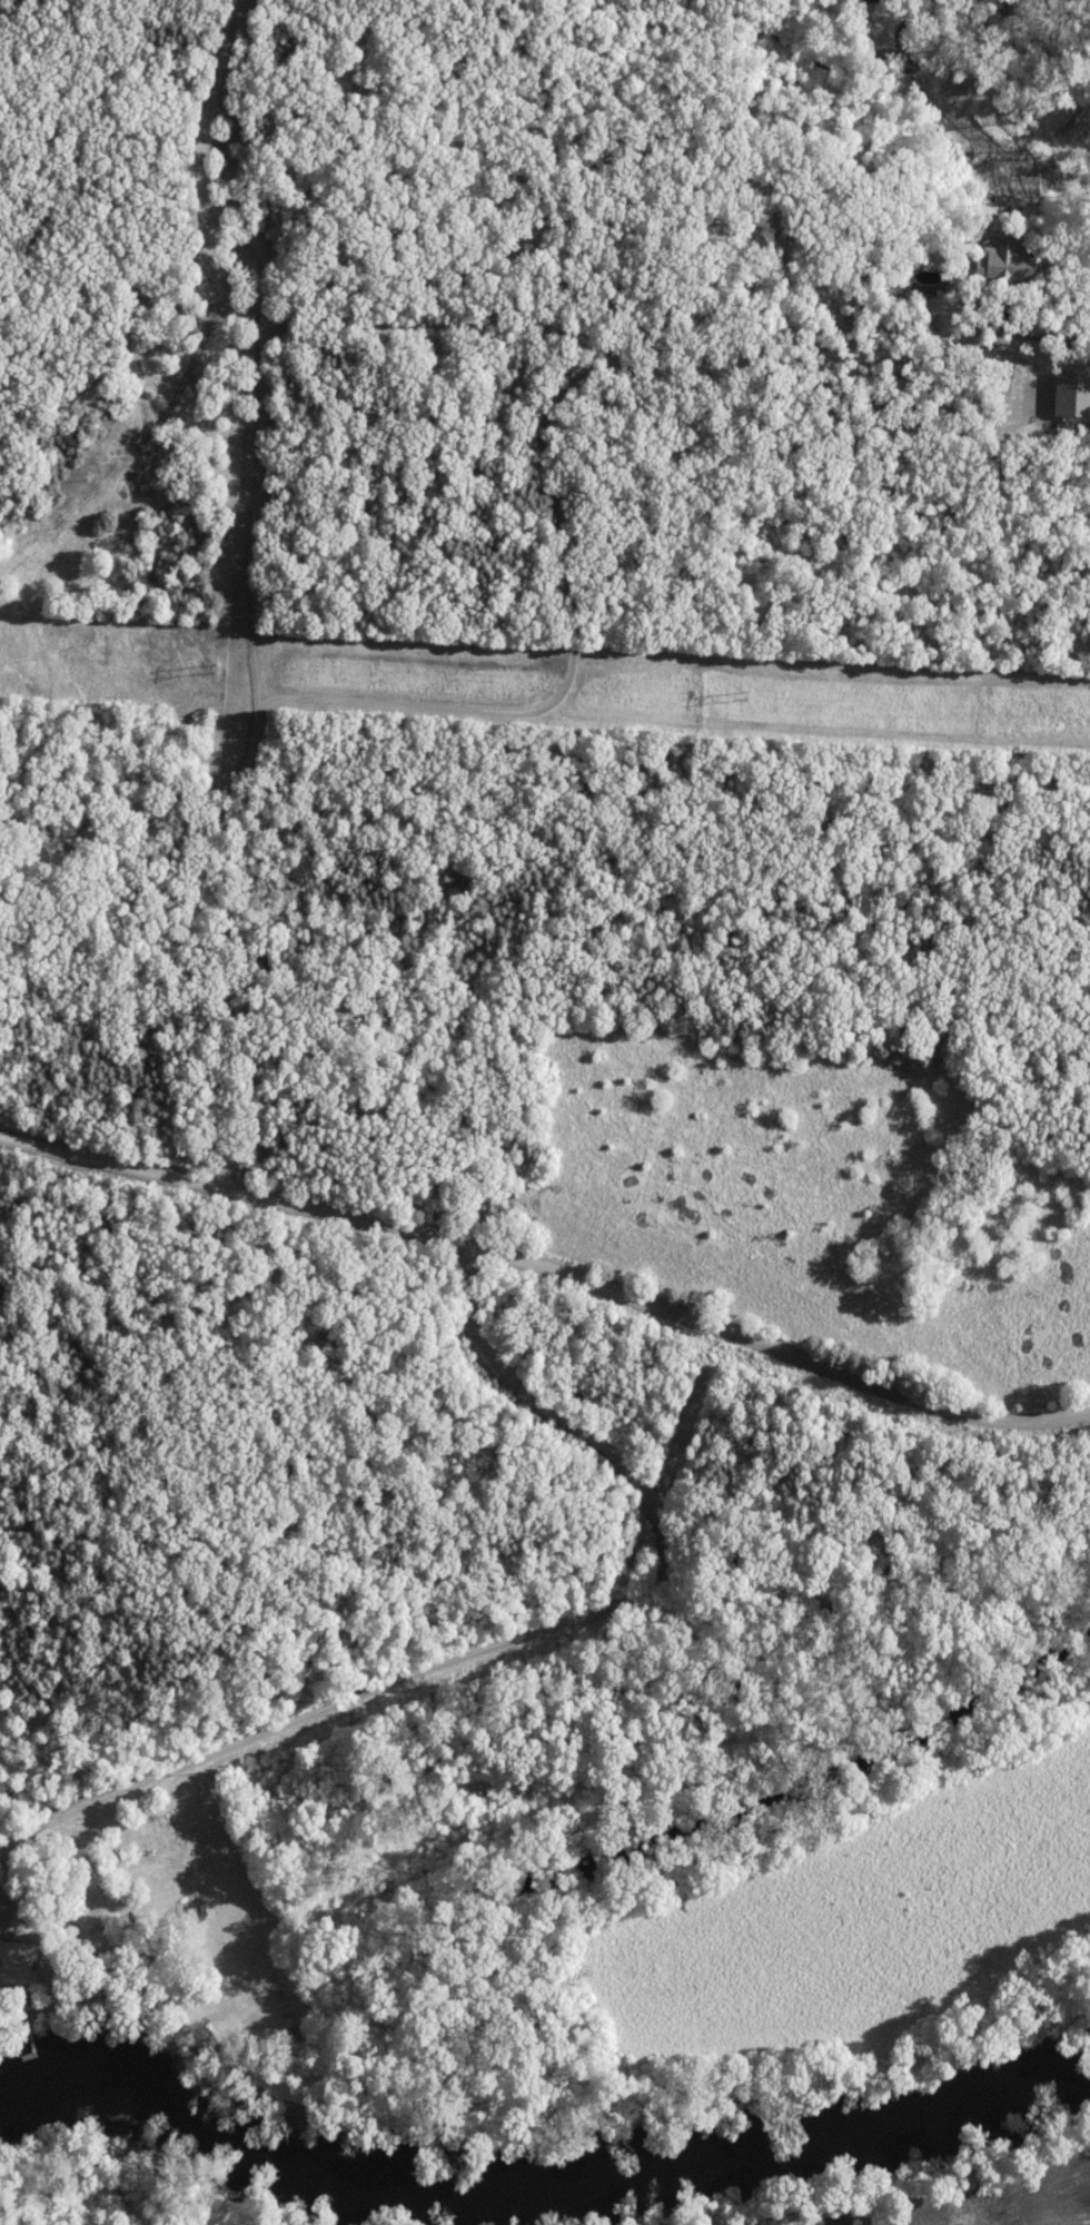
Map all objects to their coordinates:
building: (991, 269)
power tower: (217, 670)
power tower: (743, 696)
road: (549, 1266)
building: (11, 1966)

